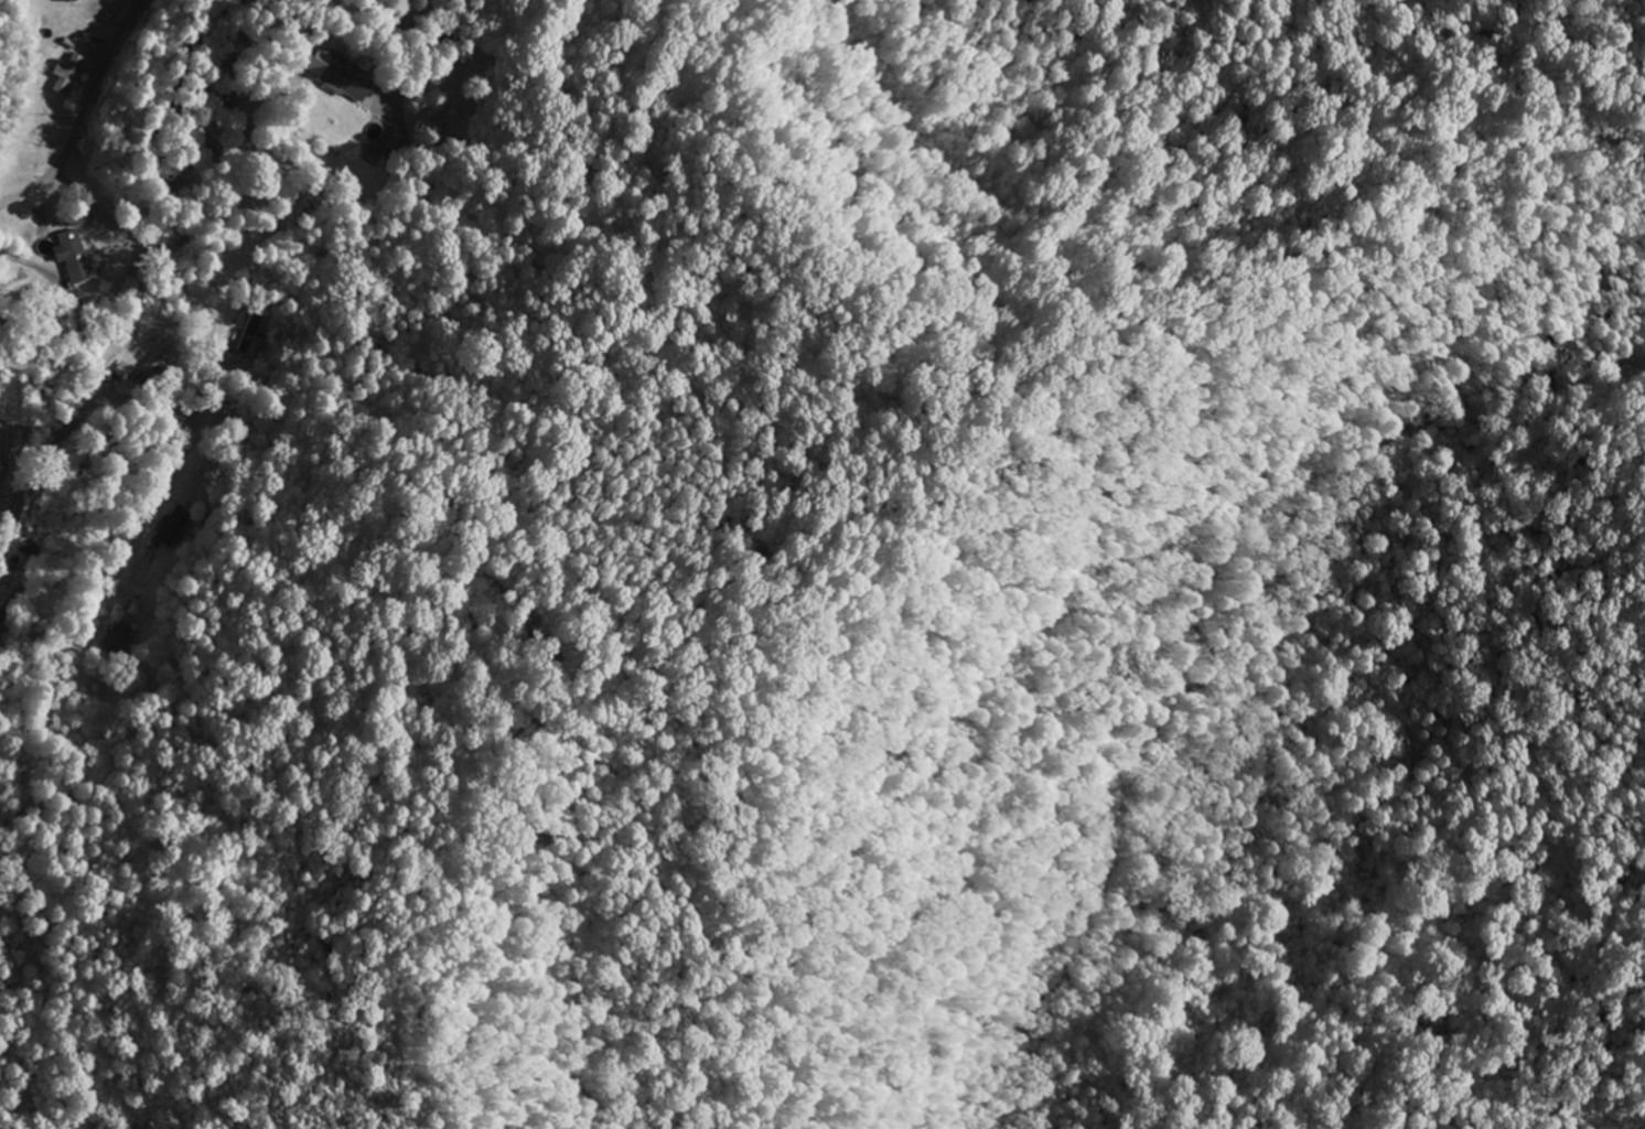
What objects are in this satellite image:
building: (65, 0)
road: (390, 32)
building: (64, 72)
building: (336, 73)
road: (83, 115)
building: (400, 136)
road: (143, 141)
road: (78, 190)
building: (73, 255)
building: (249, 337)
building: (150, 367)
building: (122, 369)
road: (74, 402)
road: (198, 504)
building: (170, 526)
building: (114, 636)
road: (13, 735)

